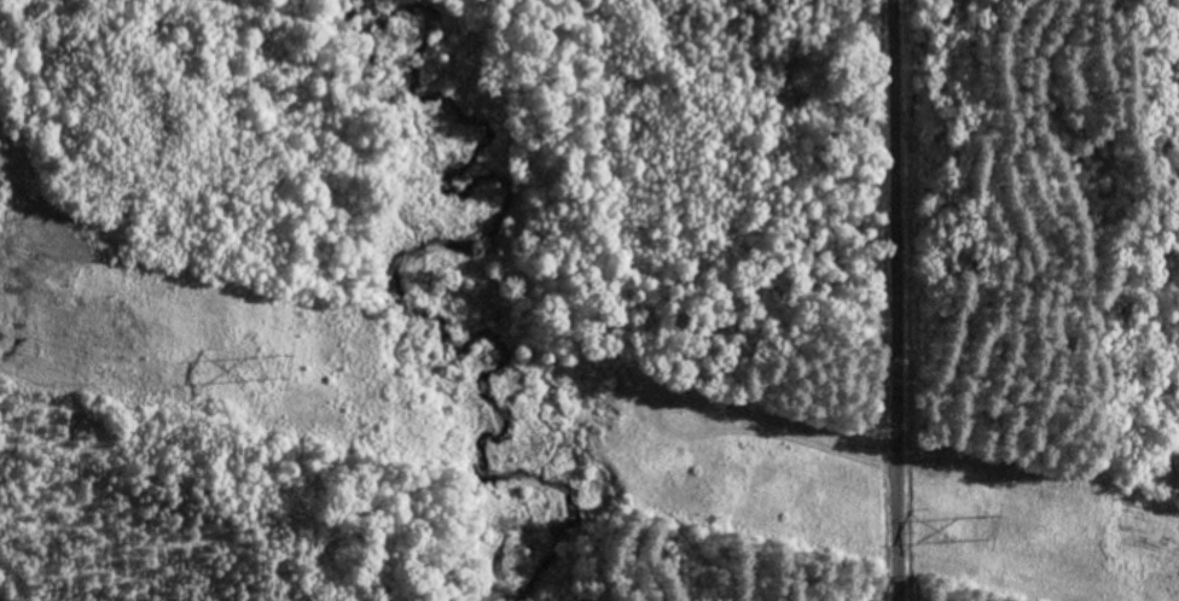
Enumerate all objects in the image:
road: (893, 300)
power tower: (285, 367)
power tower: (993, 529)

